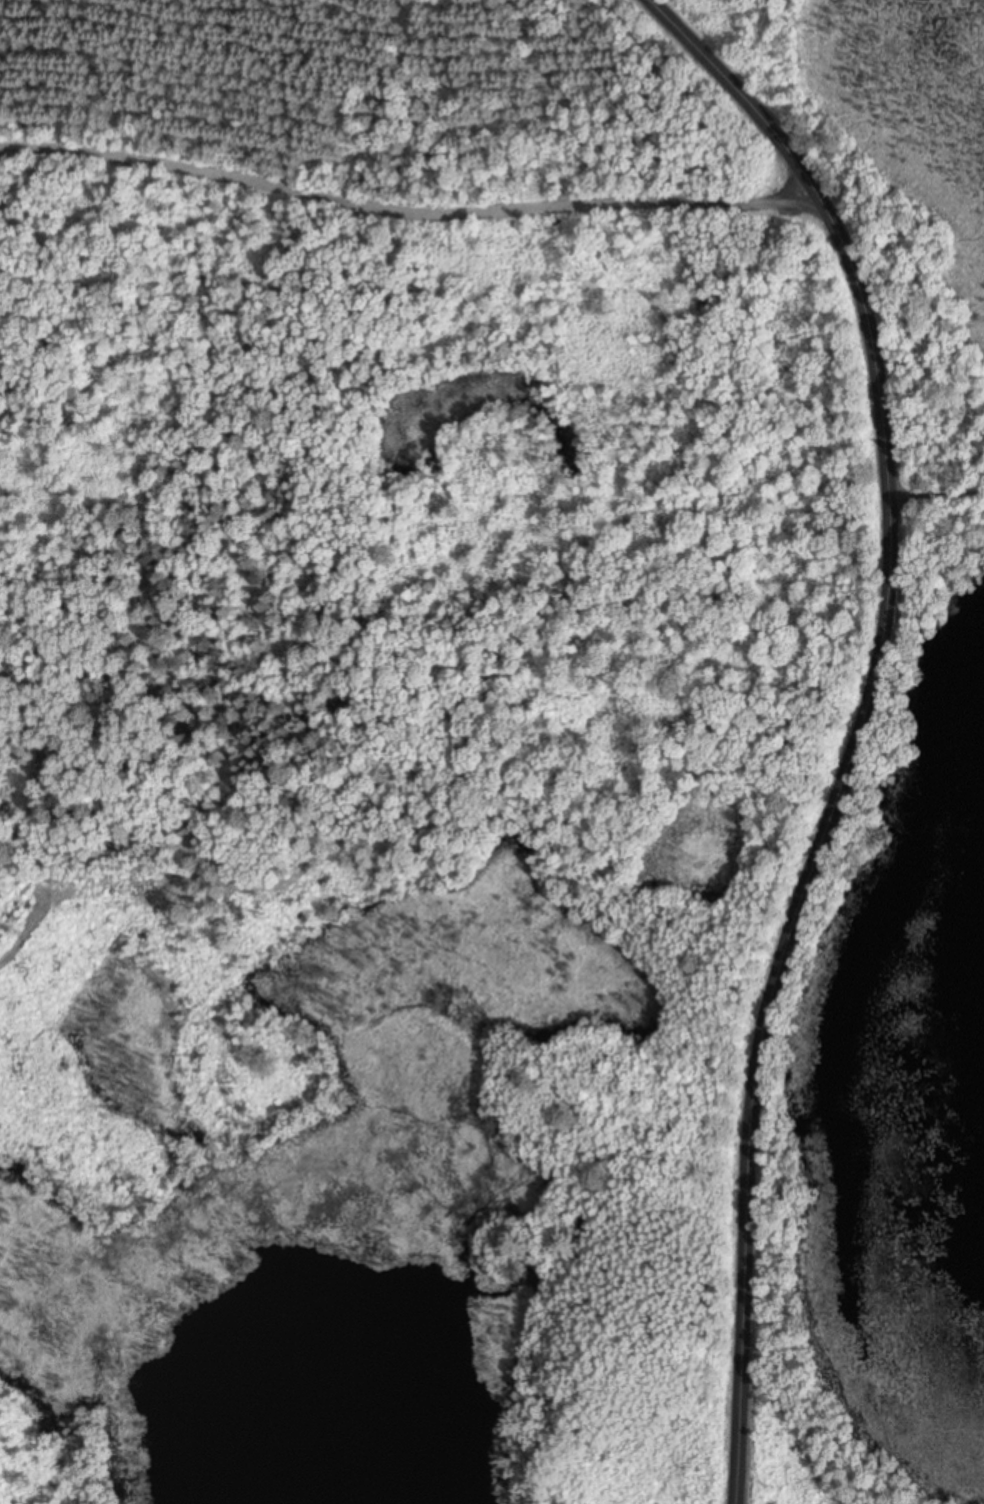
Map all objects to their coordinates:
road: (414, 213)
road: (858, 719)

